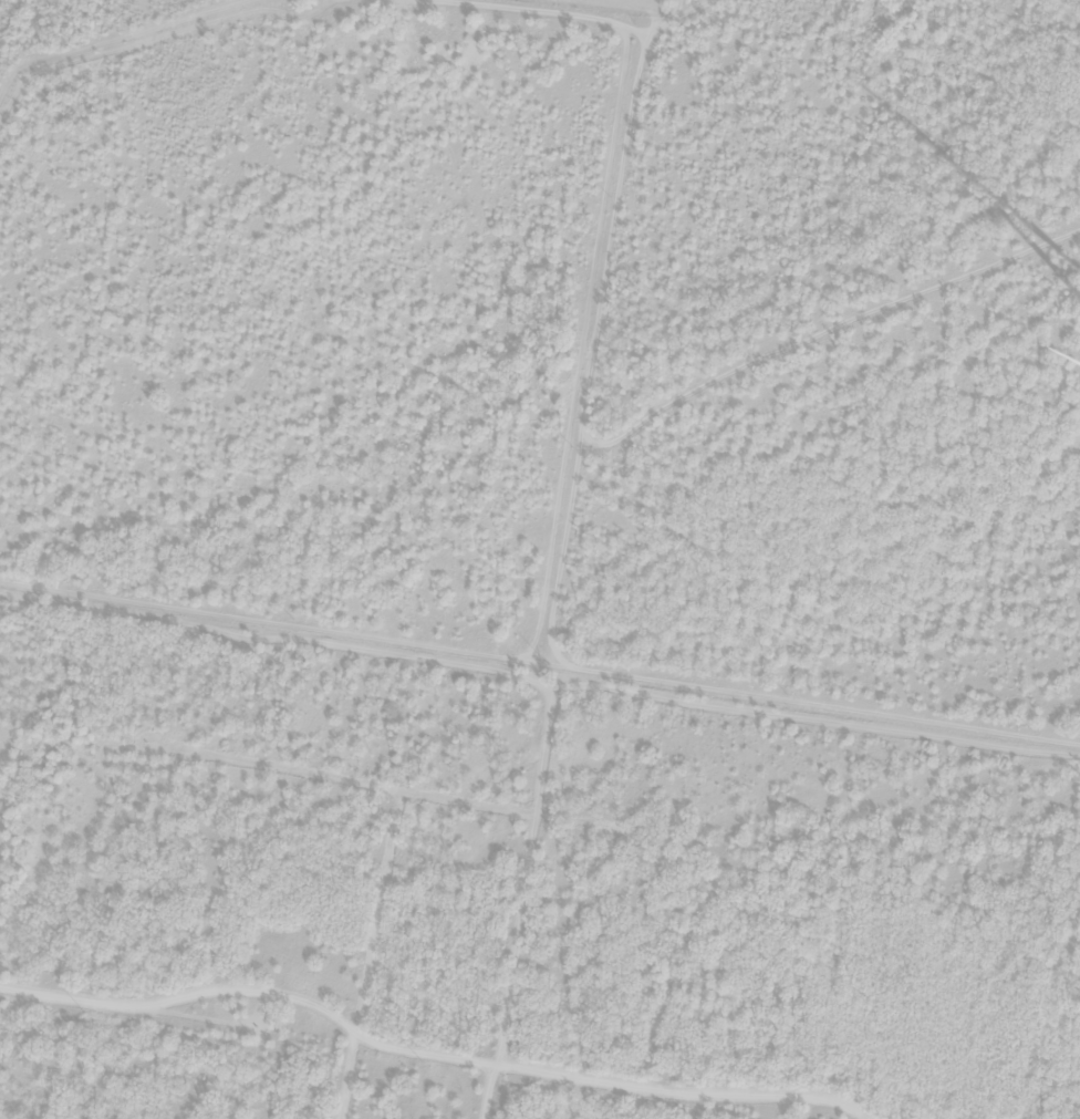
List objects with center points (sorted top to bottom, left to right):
road: (625, 303)
road: (394, 589)
road: (930, 688)

